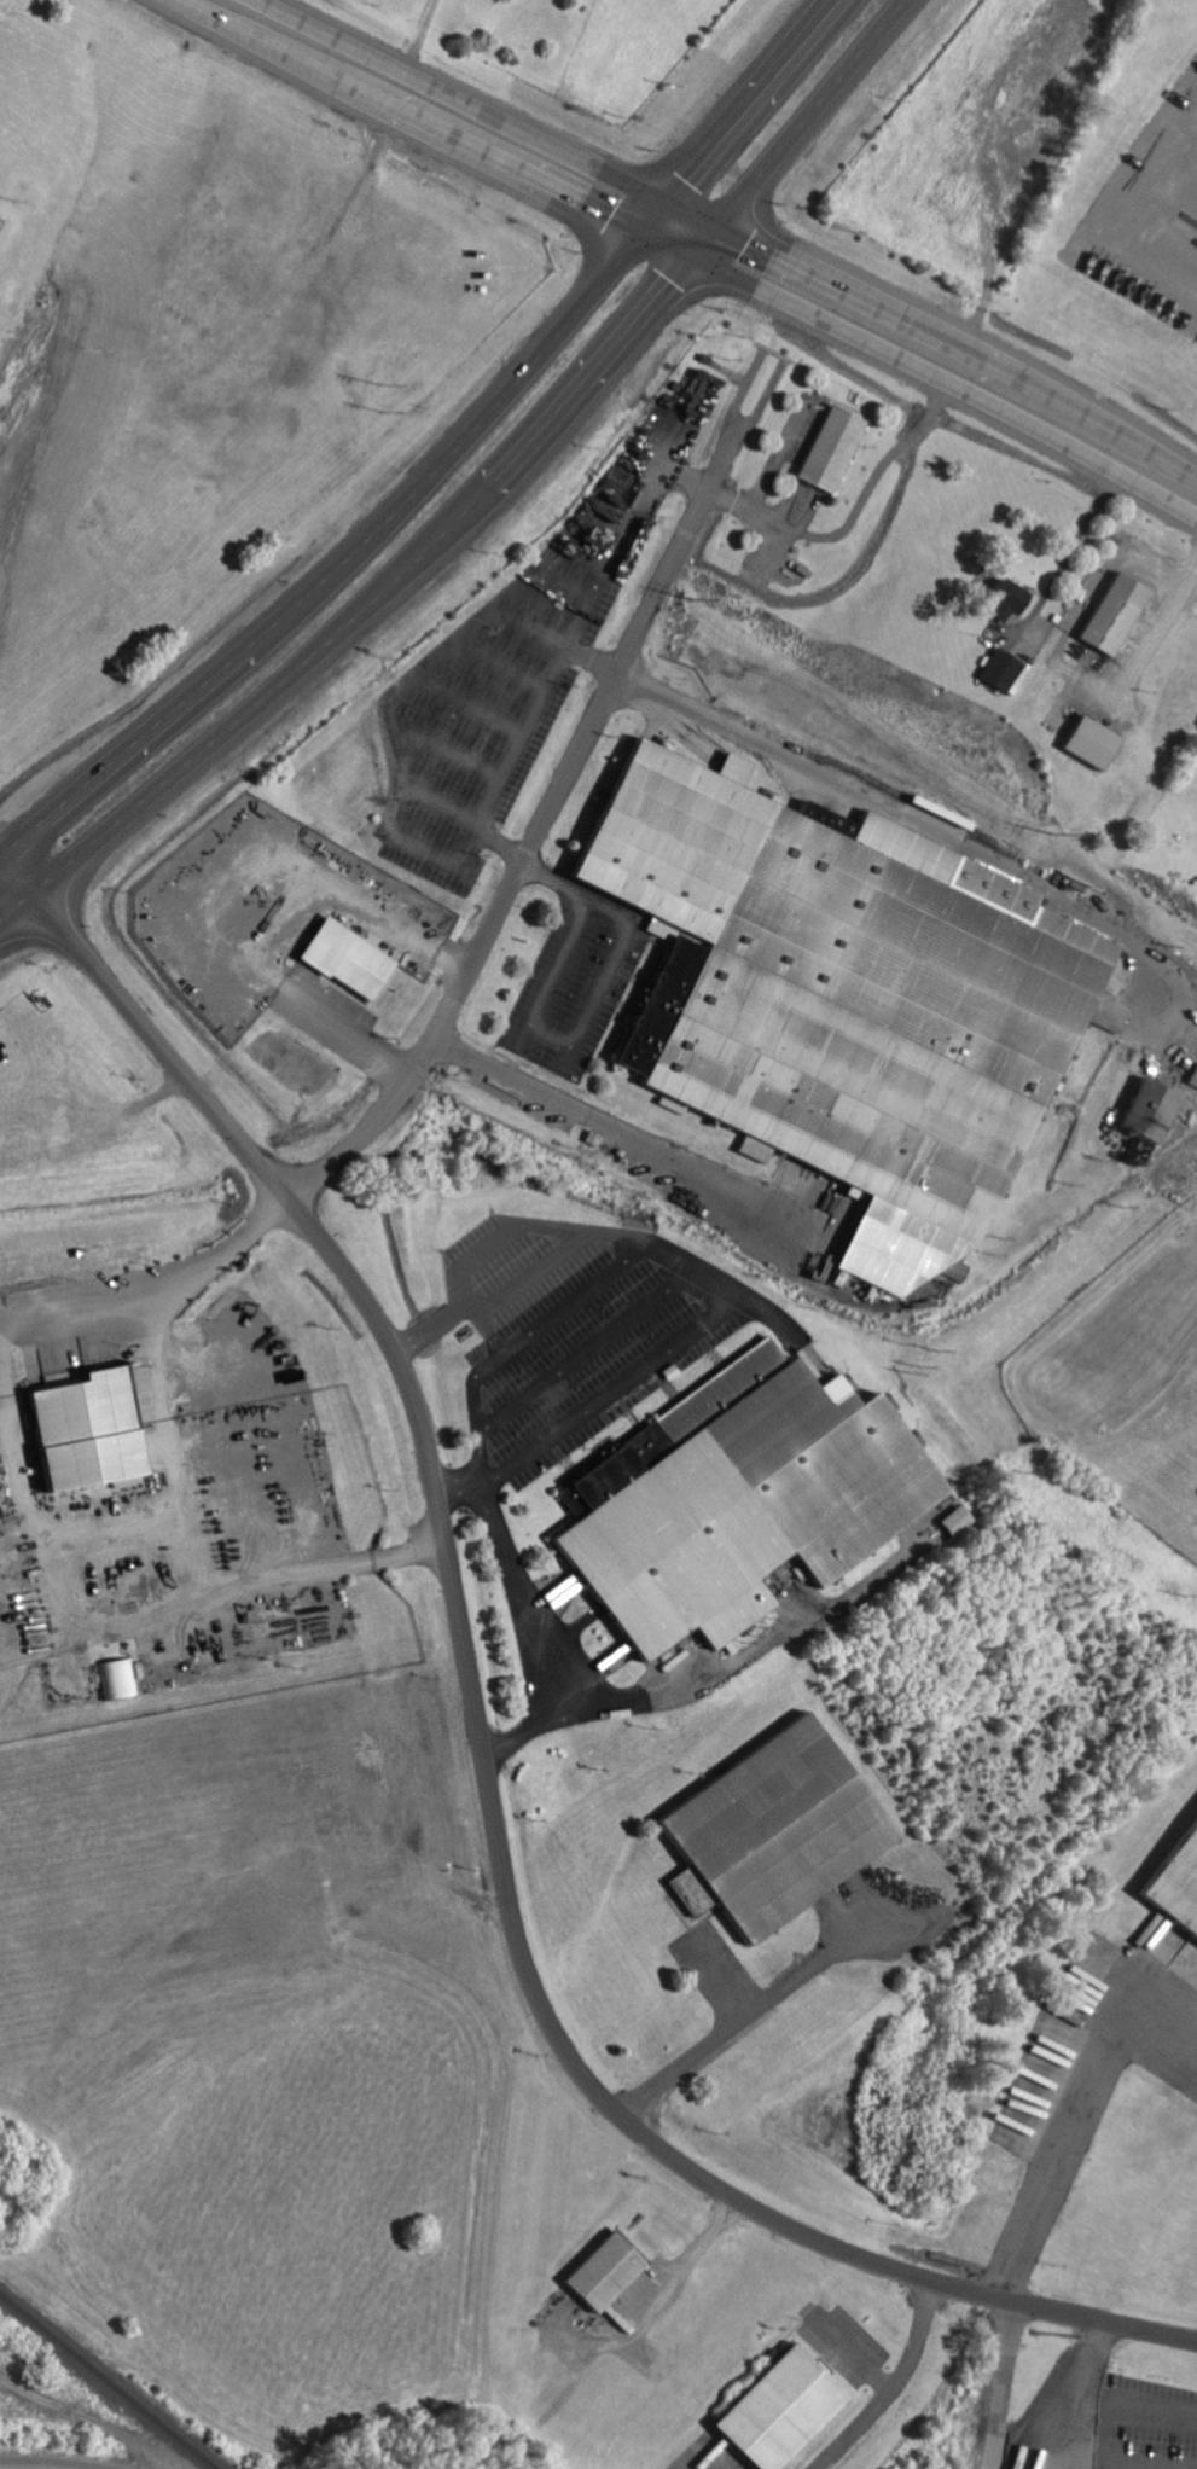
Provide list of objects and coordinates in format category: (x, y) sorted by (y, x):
road: (260, 10)
road: (422, 46)
road: (709, 245)
road: (749, 428)
building: (831, 452)
road: (449, 458)
road: (489, 496)
building: (1009, 602)
building: (1115, 617)
building: (1001, 673)
building: (1091, 745)
road: (558, 798)
road: (0, 856)
building: (347, 960)
building: (843, 1000)
building: (1193, 1079)
building: (1150, 1112)
road: (179, 1288)
building: (87, 1431)
building: (740, 1500)
road: (198, 1556)
building: (120, 1680)
road: (480, 1744)
building: (774, 1832)
building: (1176, 1892)
building: (604, 2275)
railway: (105, 2382)
building: (781, 2411)
railway: (48, 2463)

